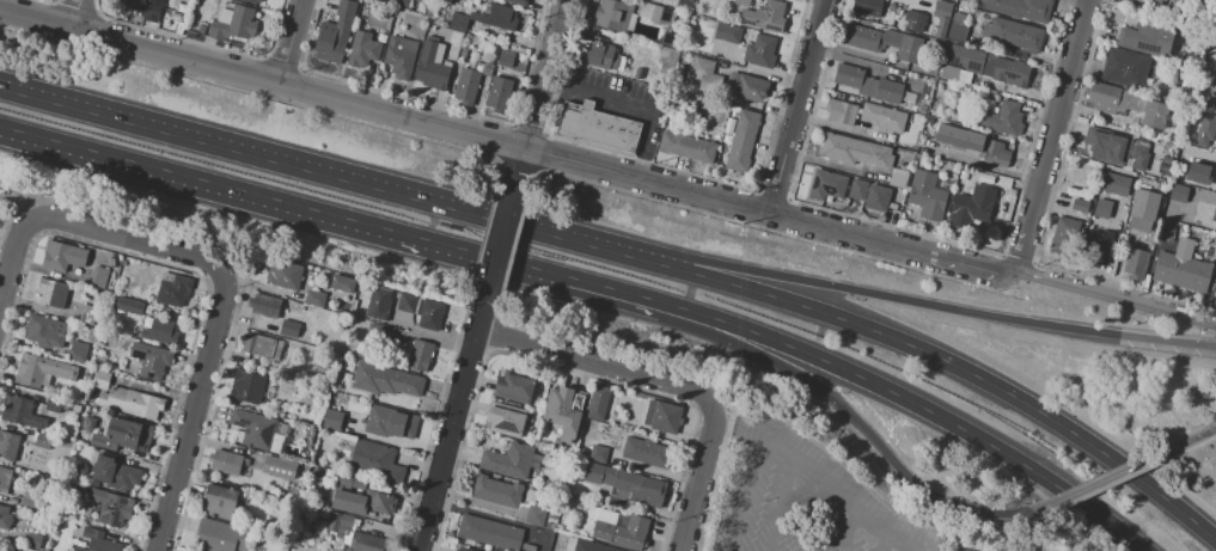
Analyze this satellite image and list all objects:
road: (917, 0)
building: (252, 1)
building: (423, 1)
building: (401, 2)
building: (741, 2)
building: (1150, 2)
building: (684, 6)
building: (145, 7)
building: (867, 7)
building: (1019, 8)
building: (648, 12)
road: (73, 14)
building: (612, 14)
building: (485, 17)
building: (764, 17)
building: (941, 17)
building: (913, 20)
building: (233, 24)
building: (958, 26)
building: (728, 32)
building: (335, 33)
building: (1014, 35)
building: (454, 38)
building: (1148, 38)
road: (288, 42)
building: (885, 42)
building: (361, 49)
building: (760, 50)
road: (858, 53)
building: (401, 56)
building: (505, 57)
building: (601, 57)
building: (667, 61)
building: (1210, 61)
building: (988, 65)
building: (433, 66)
building: (1124, 67)
building: (948, 72)
road: (543, 74)
building: (704, 74)
road: (774, 75)
building: (869, 84)
building: (1186, 85)
building: (466, 86)
building: (746, 86)
building: (499, 94)
building: (1126, 103)
road: (798, 105)
building: (1210, 105)
road: (642, 108)
building: (922, 110)
building: (841, 111)
road: (384, 112)
building: (885, 117)
building: (1003, 118)
building: (597, 125)
building: (1204, 129)
road: (1052, 136)
building: (959, 139)
building: (741, 141)
building: (1168, 145)
building: (686, 147)
building: (1118, 149)
building: (855, 151)
building: (996, 151)
road: (293, 161)
road: (982, 164)
road: (515, 165)
road: (835, 165)
building: (904, 167)
building: (1199, 175)
building: (959, 177)
building: (899, 178)
building: (826, 184)
building: (1116, 184)
building: (858, 190)
building: (1178, 192)
building: (927, 195)
building: (971, 204)
building: (1144, 204)
building: (1080, 206)
building: (1102, 209)
building: (1214, 215)
road: (330, 218)
building: (1166, 229)
road: (128, 237)
building: (1065, 237)
road: (892, 241)
road: (496, 244)
building: (1098, 249)
building: (1214, 253)
building: (62, 256)
road: (11, 258)
building: (1135, 264)
building: (1183, 269)
building: (285, 275)
building: (99, 277)
building: (340, 282)
building: (173, 289)
building: (53, 293)
building: (314, 296)
road: (1116, 298)
road: (899, 299)
building: (1215, 301)
building: (377, 304)
building: (407, 304)
building: (264, 305)
building: (129, 306)
building: (69, 314)
building: (85, 314)
building: (430, 314)
building: (289, 327)
building: (44, 331)
building: (160, 332)
building: (379, 332)
building: (262, 347)
road: (919, 349)
building: (77, 351)
building: (420, 355)
building: (151, 360)
road: (594, 362)
building: (42, 371)
building: (99, 379)
building: (385, 379)
building: (248, 386)
building: (514, 388)
building: (132, 402)
building: (598, 403)
road: (915, 403)
building: (56, 405)
building: (75, 408)
building: (22, 412)
road: (191, 412)
building: (563, 415)
building: (670, 417)
building: (332, 418)
building: (506, 420)
road: (857, 421)
building: (390, 422)
building: (88, 423)
road: (447, 427)
road: (1210, 428)
building: (253, 429)
building: (123, 435)
road: (1190, 439)
building: (43, 441)
building: (8, 446)
building: (646, 452)
building: (599, 454)
building: (512, 460)
building: (377, 461)
building: (226, 463)
building: (279, 467)
road: (808, 469)
building: (115, 475)
road: (701, 477)
road: (1108, 477)
building: (5, 478)
building: (348, 480)
building: (627, 484)
building: (496, 491)
road: (750, 495)
building: (28, 498)
building: (220, 502)
building: (362, 502)
road: (783, 506)
building: (110, 508)
road: (485, 515)
building: (536, 515)
building: (551, 515)
road: (817, 516)
building: (4, 519)
building: (338, 522)
building: (549, 526)
building: (489, 532)
building: (622, 532)
road: (851, 533)
building: (220, 535)
building: (548, 540)
building: (32, 541)
building: (96, 541)
building: (368, 543)
building: (570, 544)
road: (885, 545)
road: (899, 545)
building: (591, 546)
building: (527, 547)
building: (463, 550)

